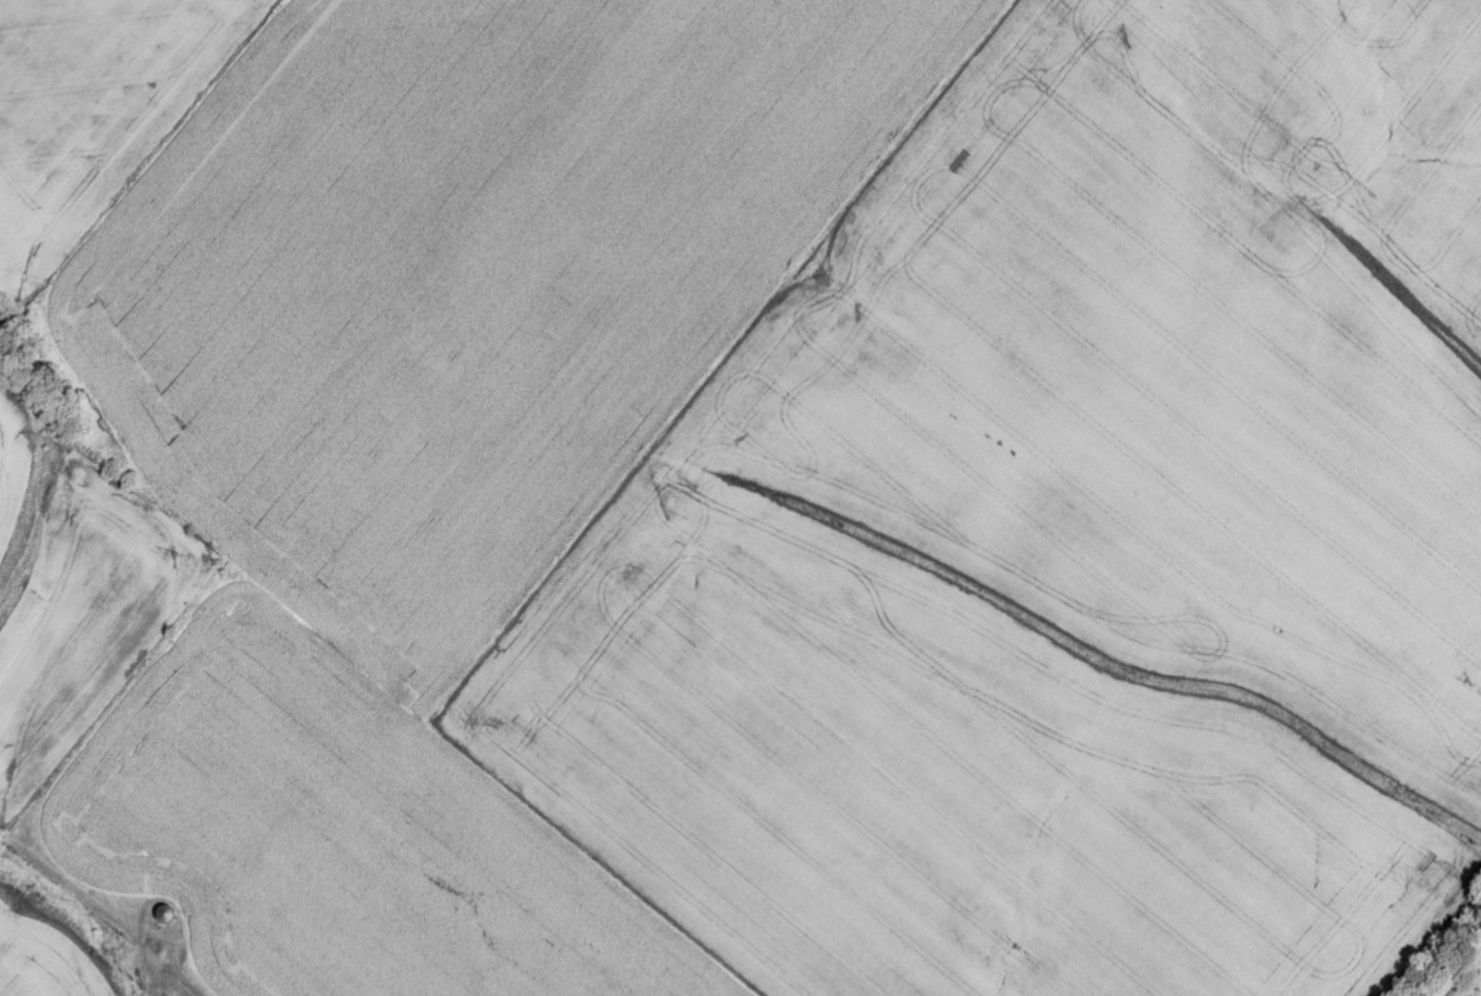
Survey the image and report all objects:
road: (98, 917)

